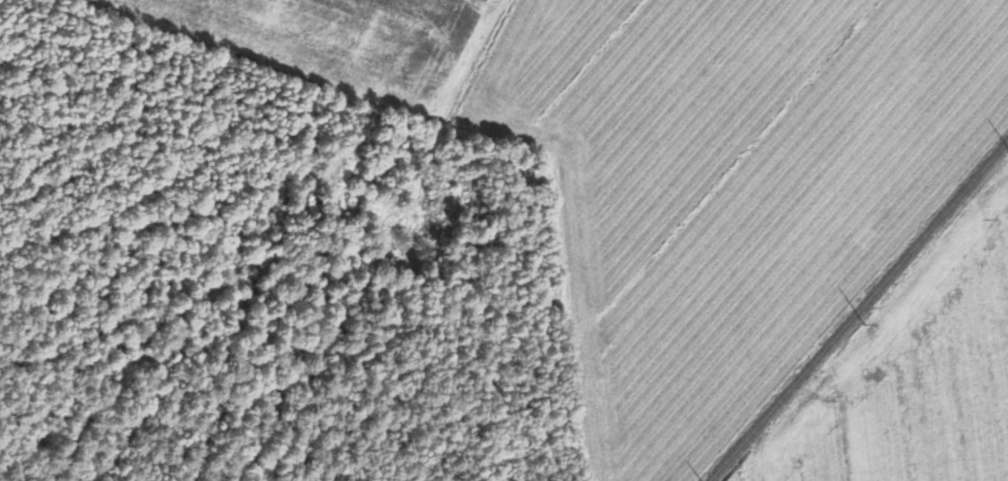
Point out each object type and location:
railway: (858, 311)
power tower: (866, 321)

